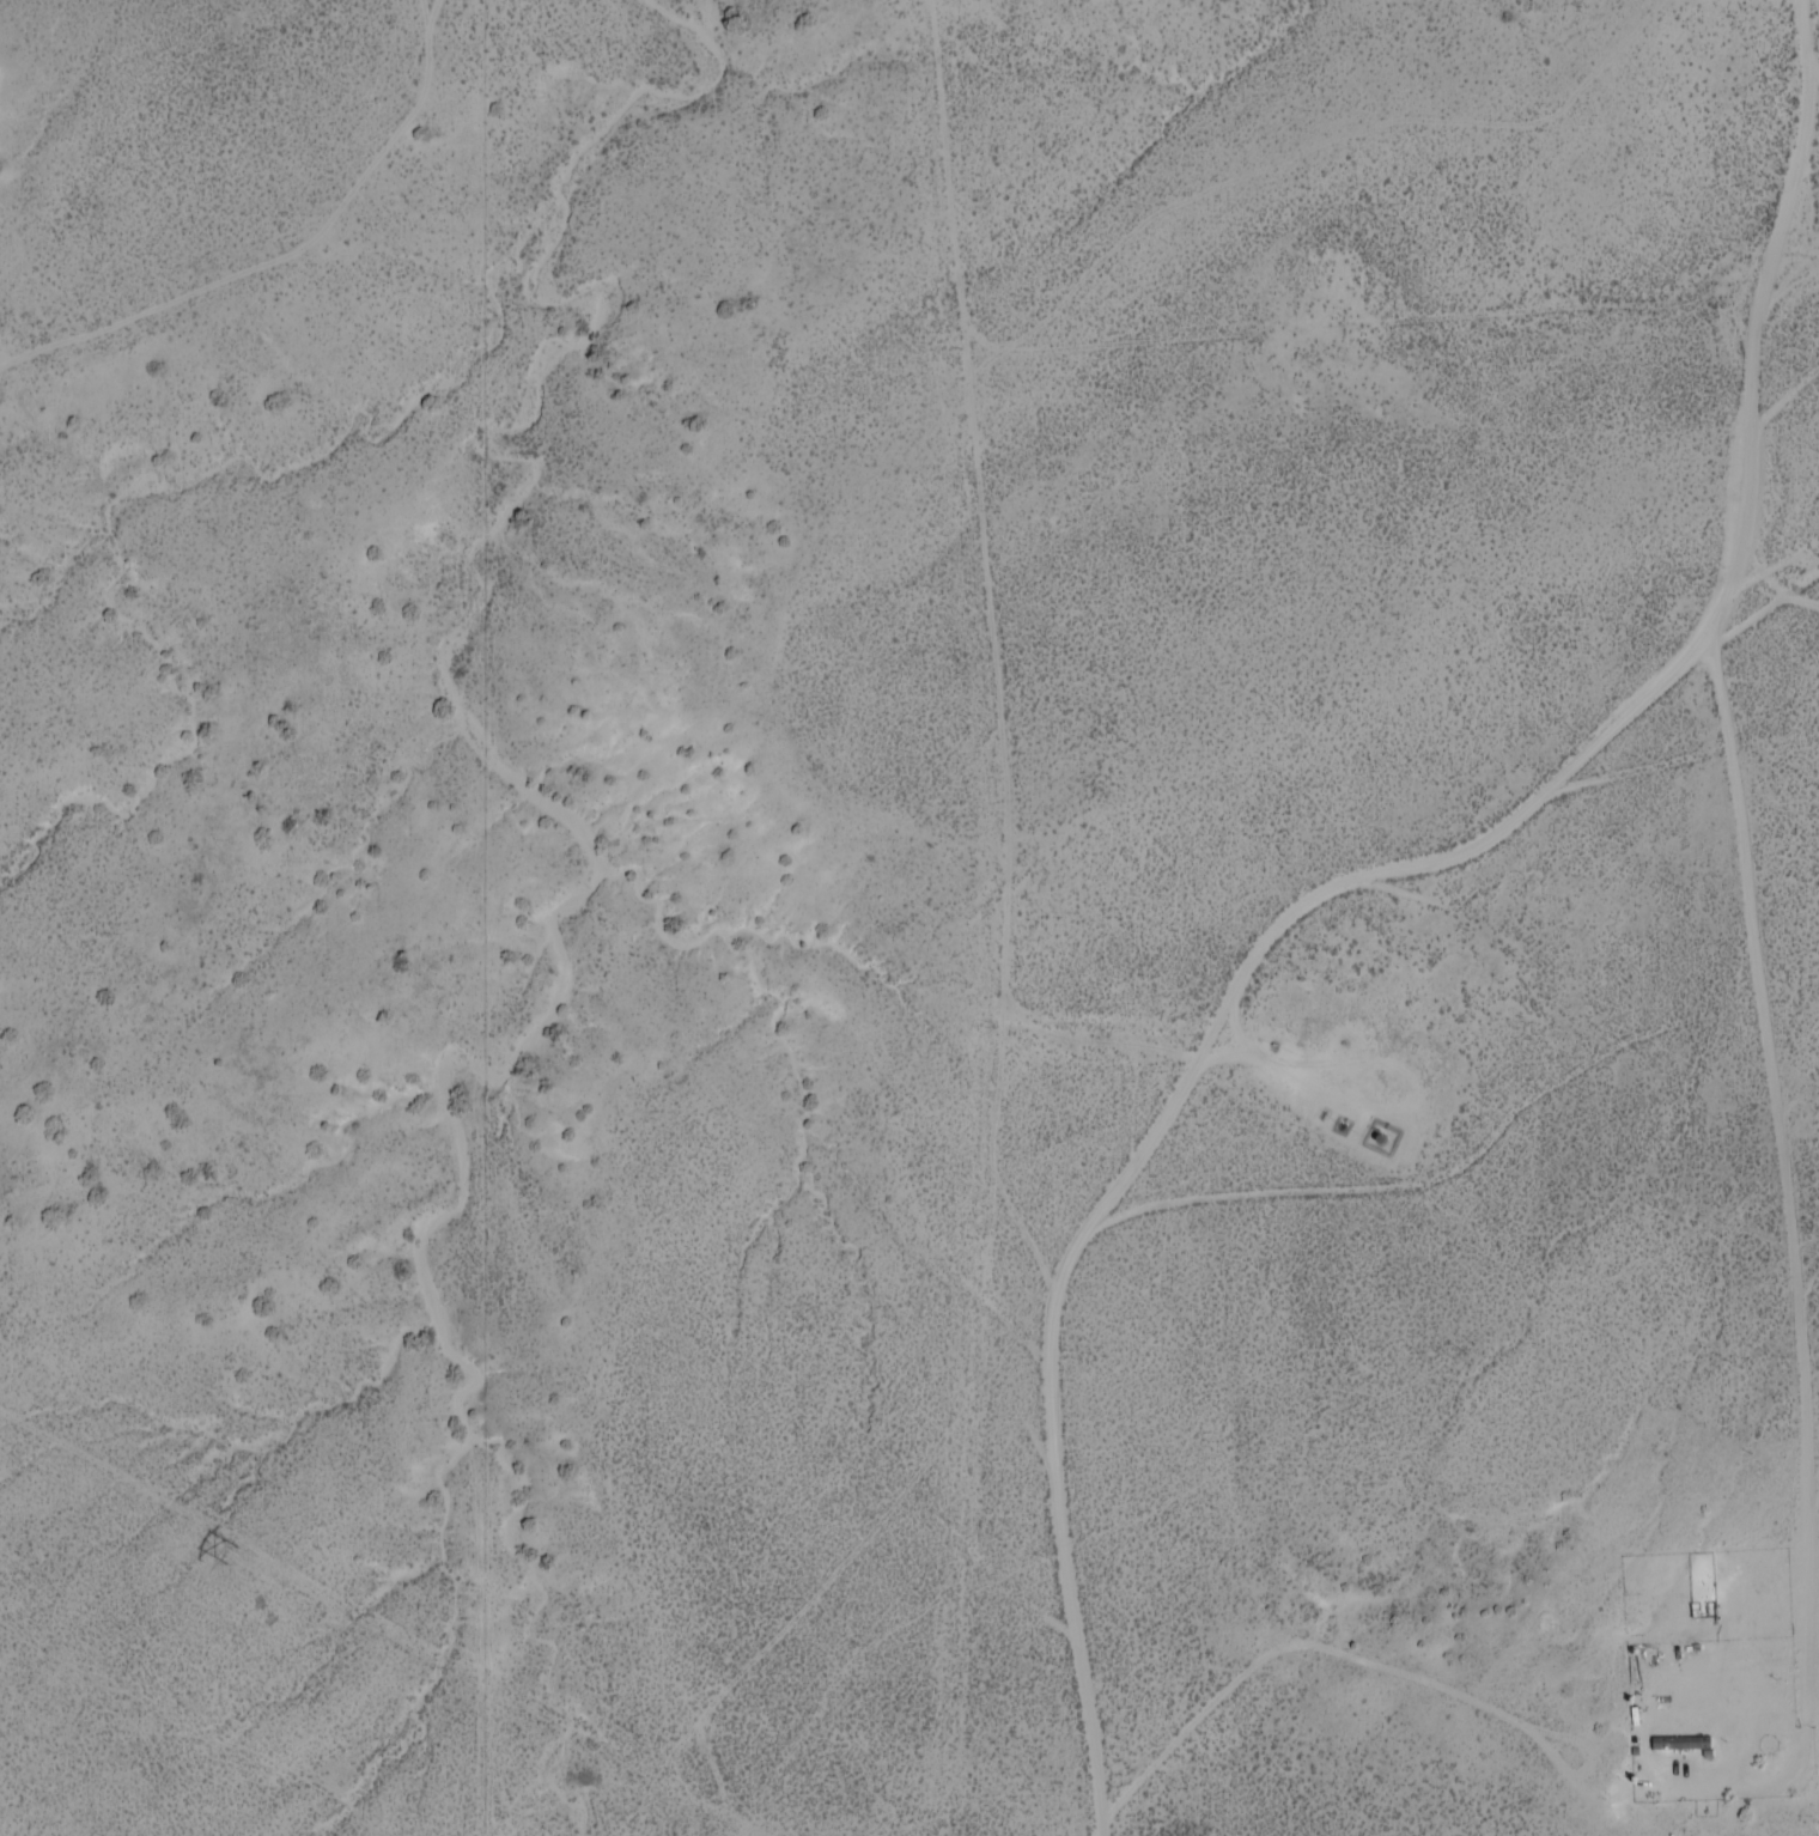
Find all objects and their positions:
power tower: (226, 1556)
building: (1680, 1745)

